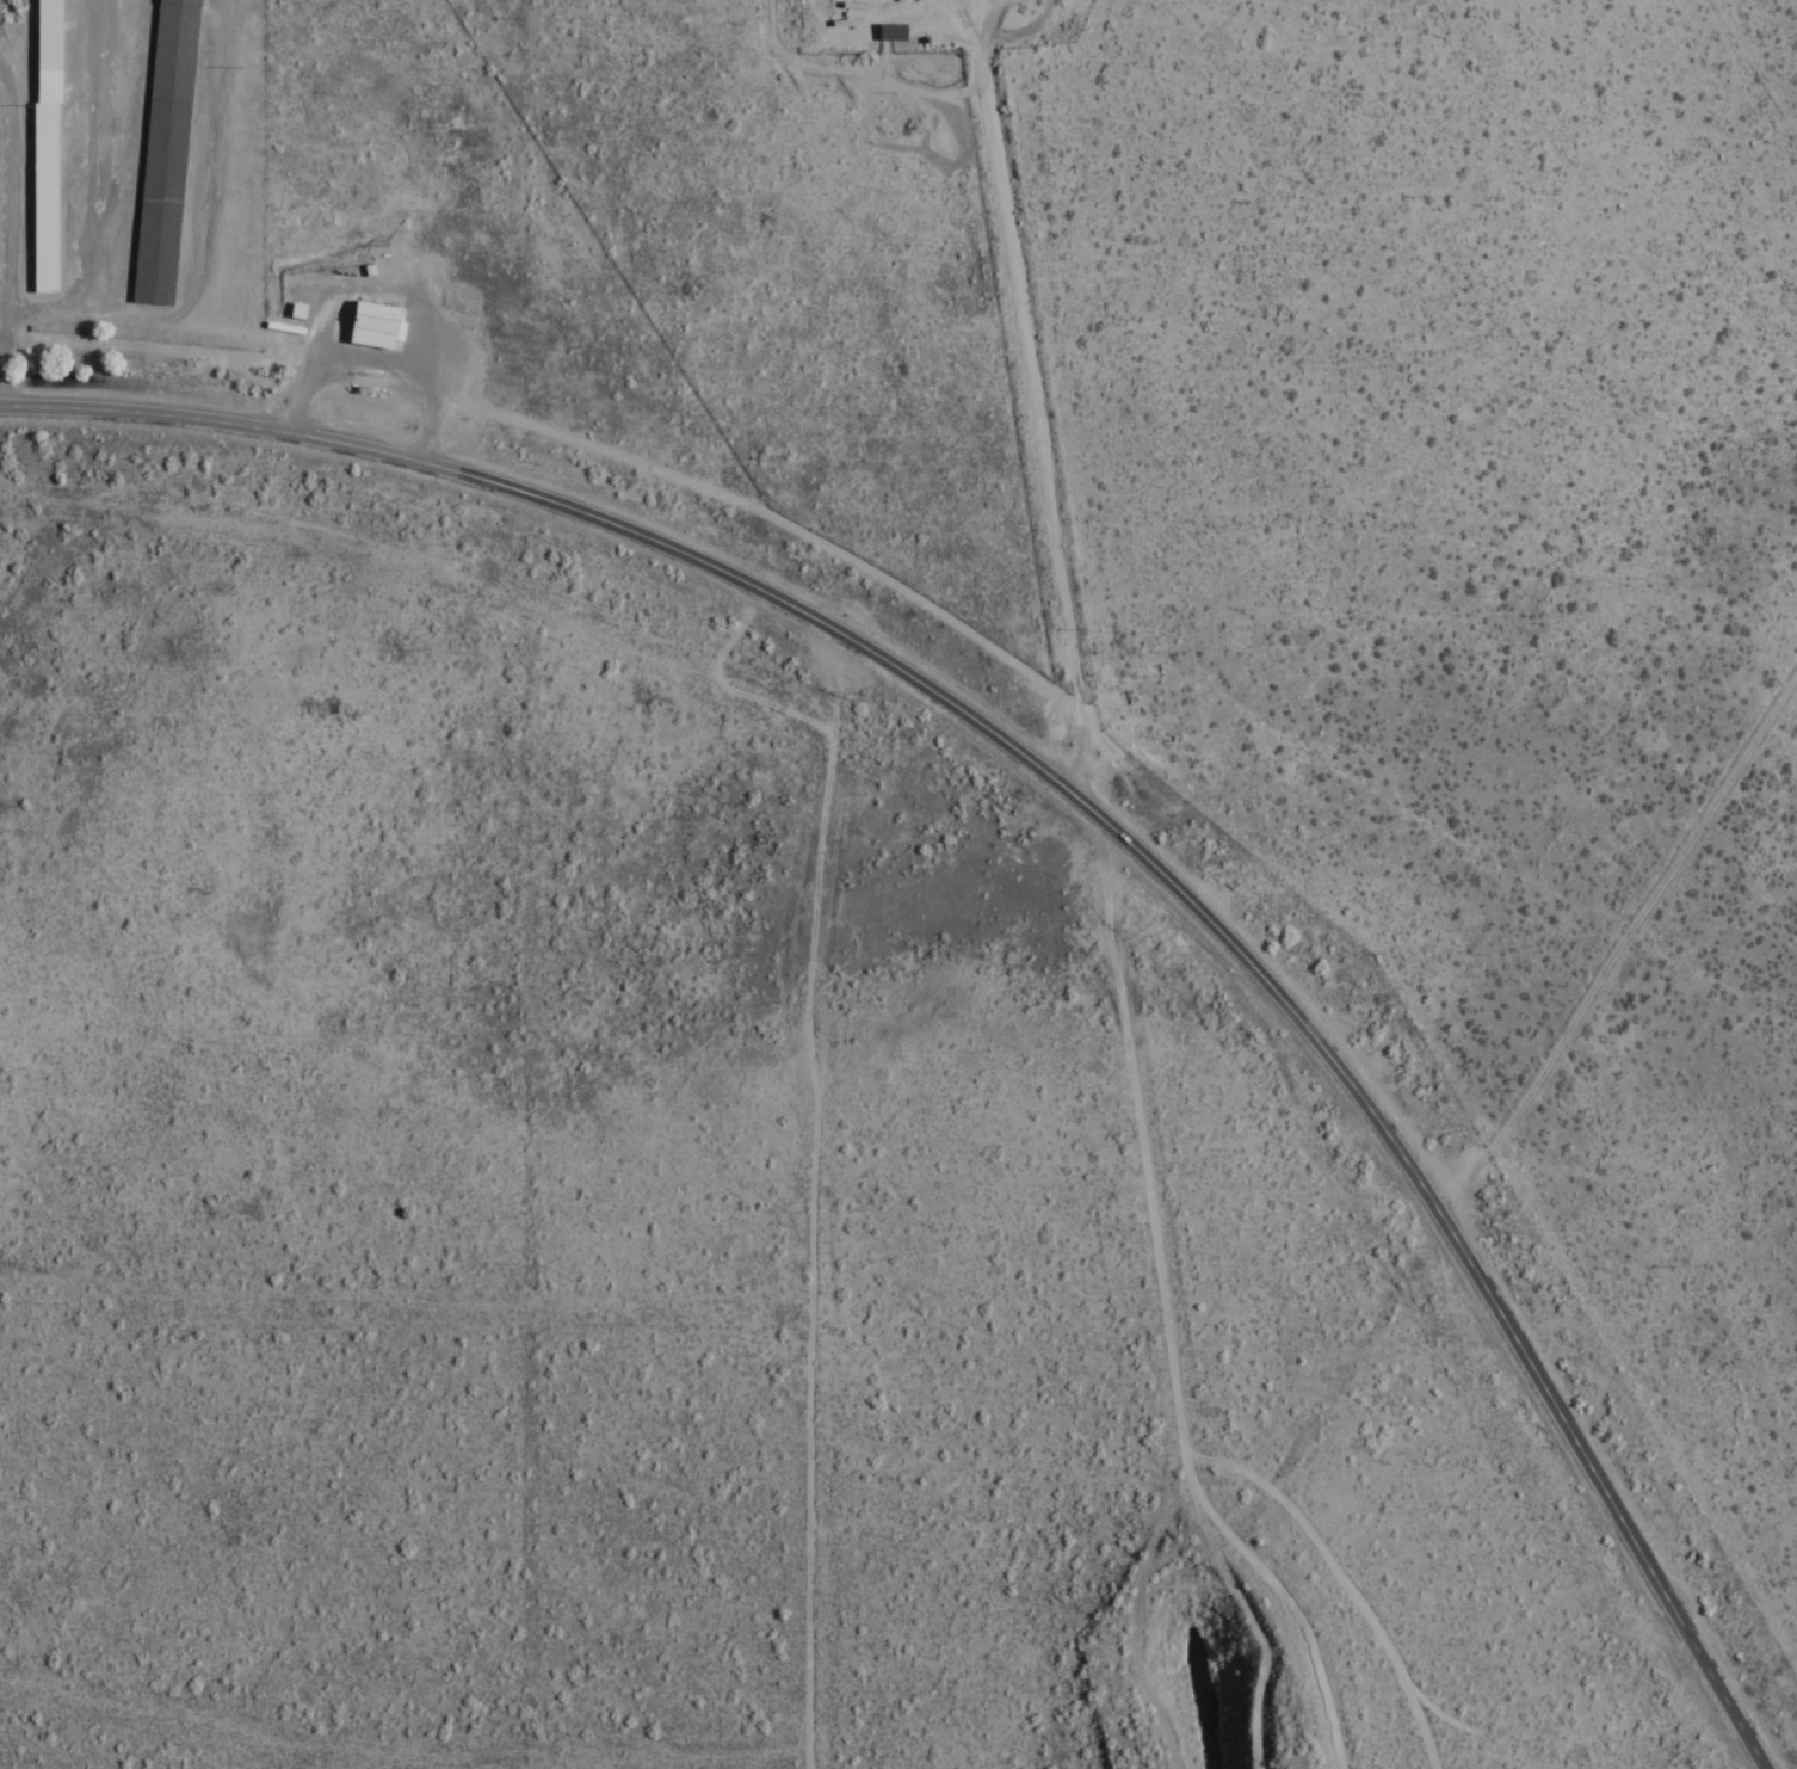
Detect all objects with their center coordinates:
building: (891, 32)
building: (49, 35)
building: (166, 152)
building: (44, 198)
road: (10, 234)
building: (373, 326)
road: (1088, 807)
road: (1624, 957)

